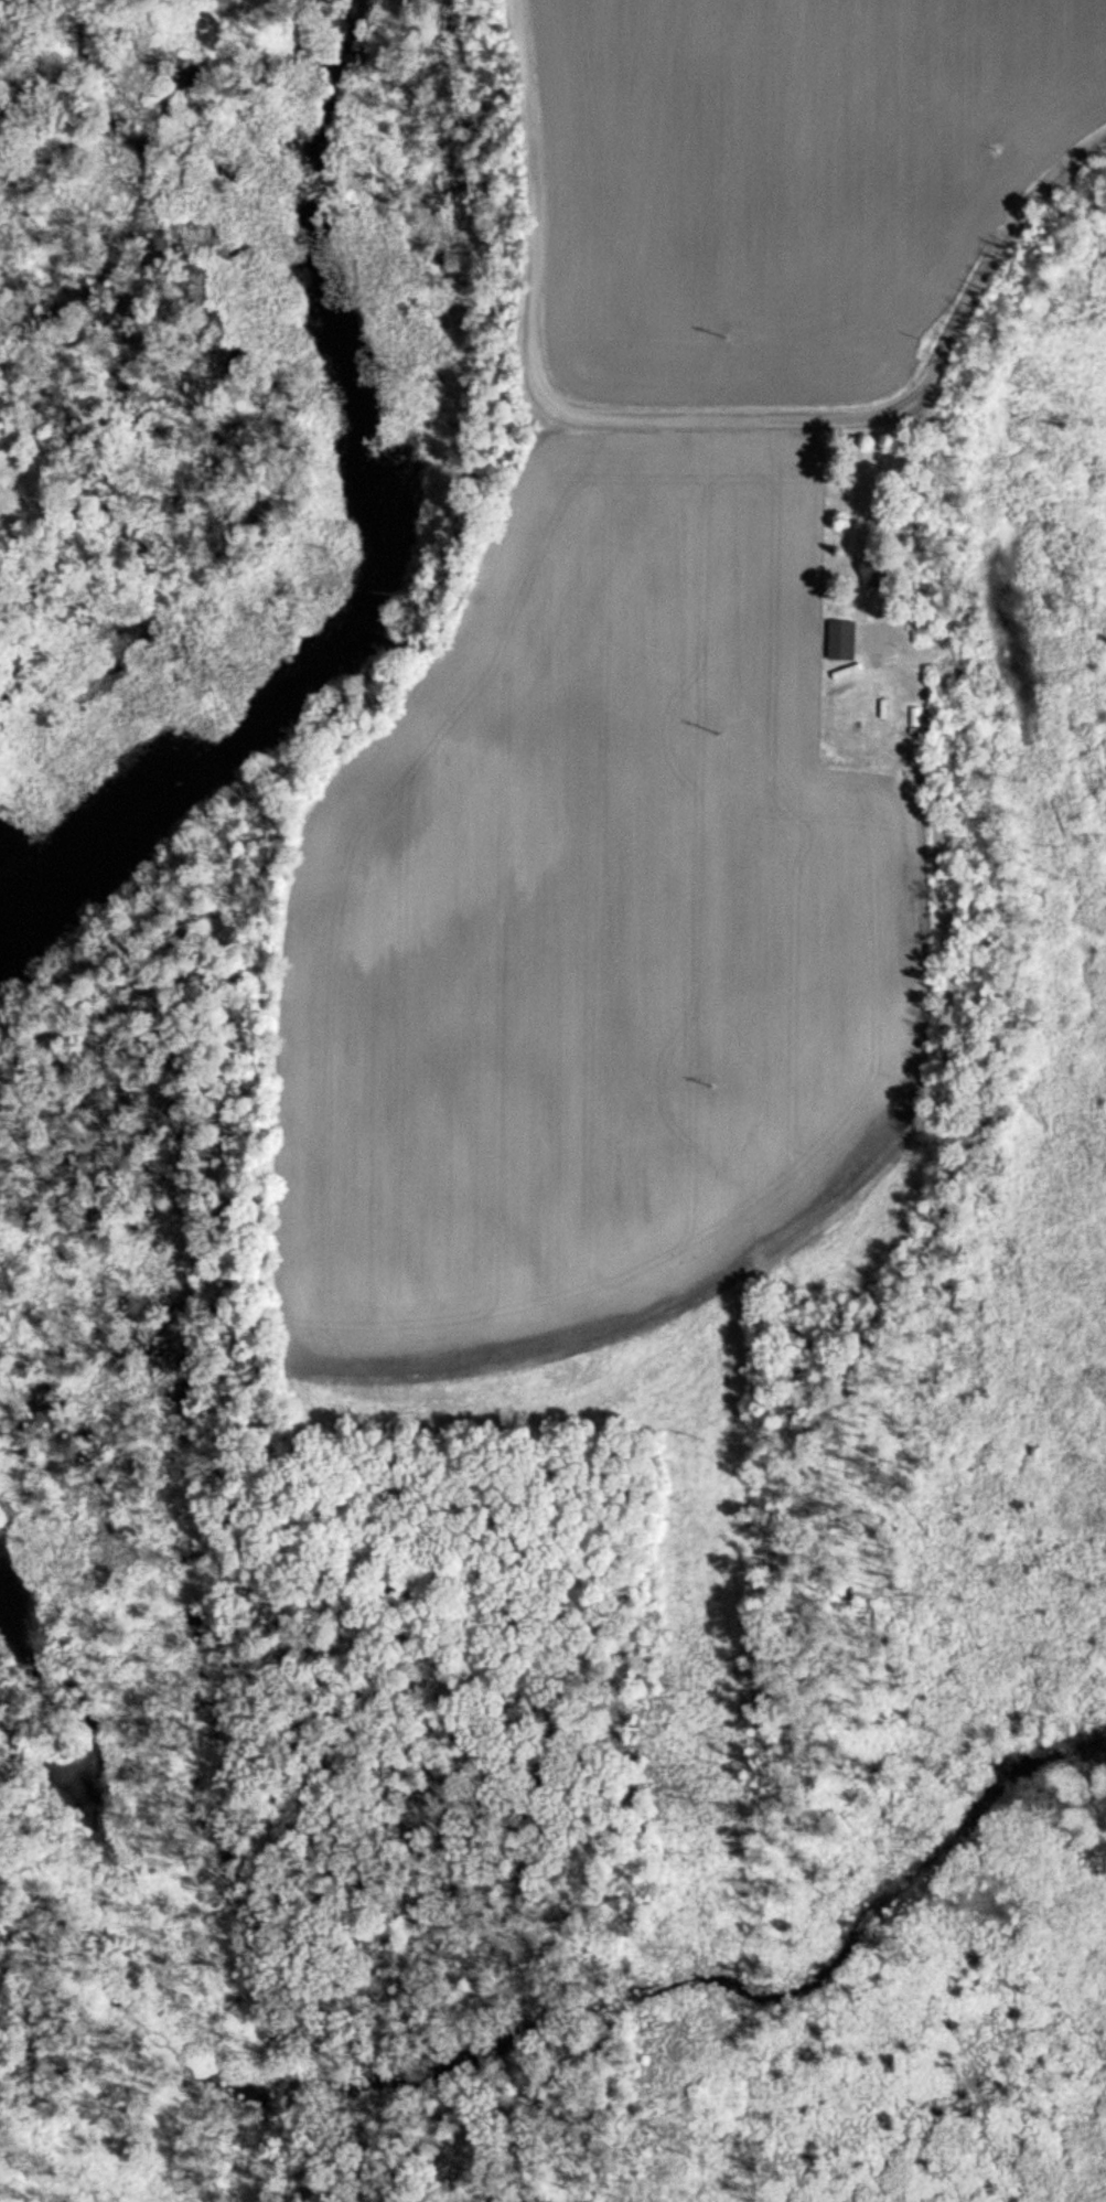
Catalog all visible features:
power tower: (728, 334)
road: (692, 415)
road: (904, 512)
river: (374, 549)
building: (877, 569)
building: (842, 640)
building: (860, 708)
power tower: (720, 731)
power tower: (713, 1083)
power tower: (707, 1443)
power tower: (699, 1795)
river: (417, 2049)
power tower: (691, 2151)

